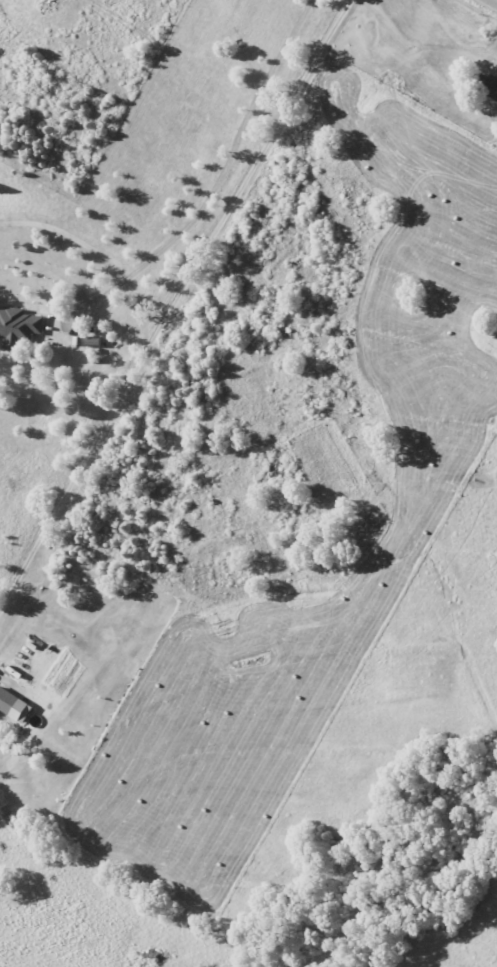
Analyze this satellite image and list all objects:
road: (492, 2)
road: (224, 173)
road: (172, 301)
building: (19, 327)
building: (15, 705)

